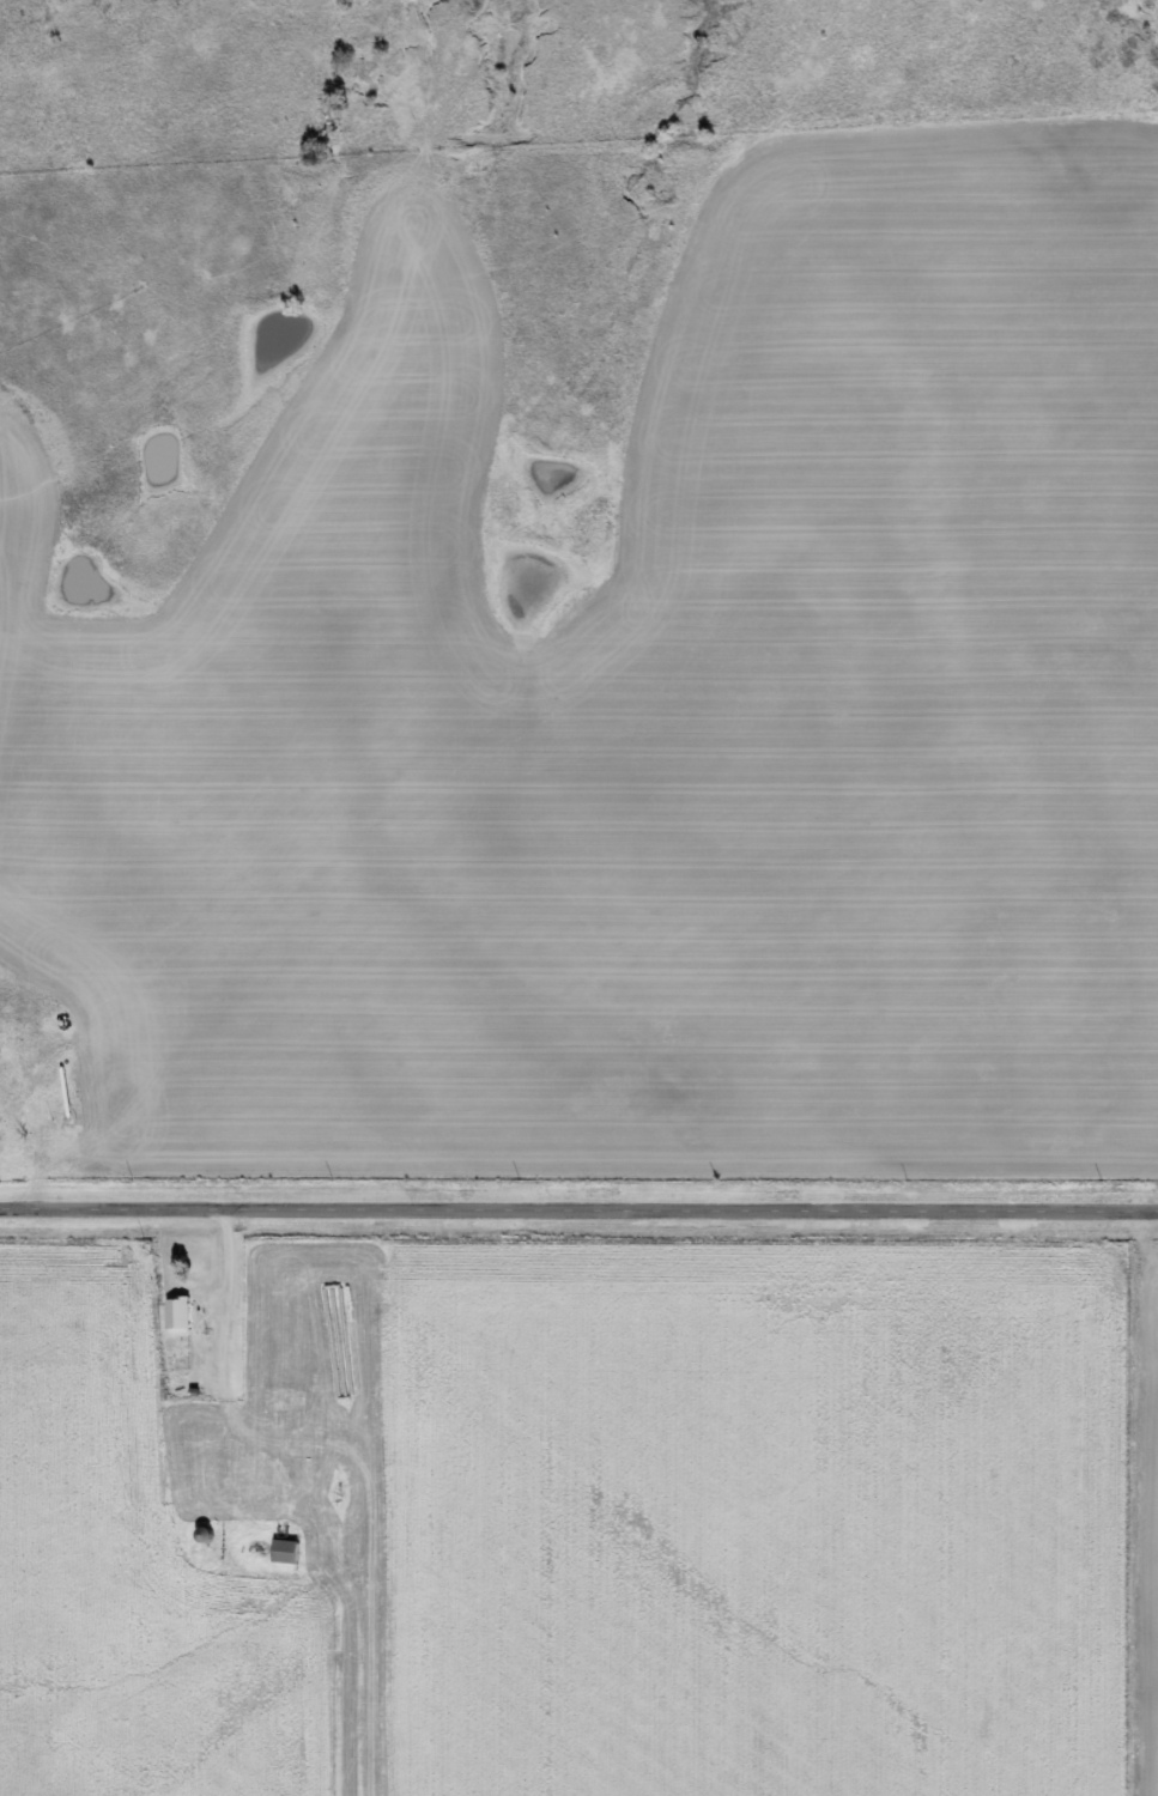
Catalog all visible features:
road: (578, 1212)
building: (176, 1316)
building: (184, 1375)
building: (283, 1553)

